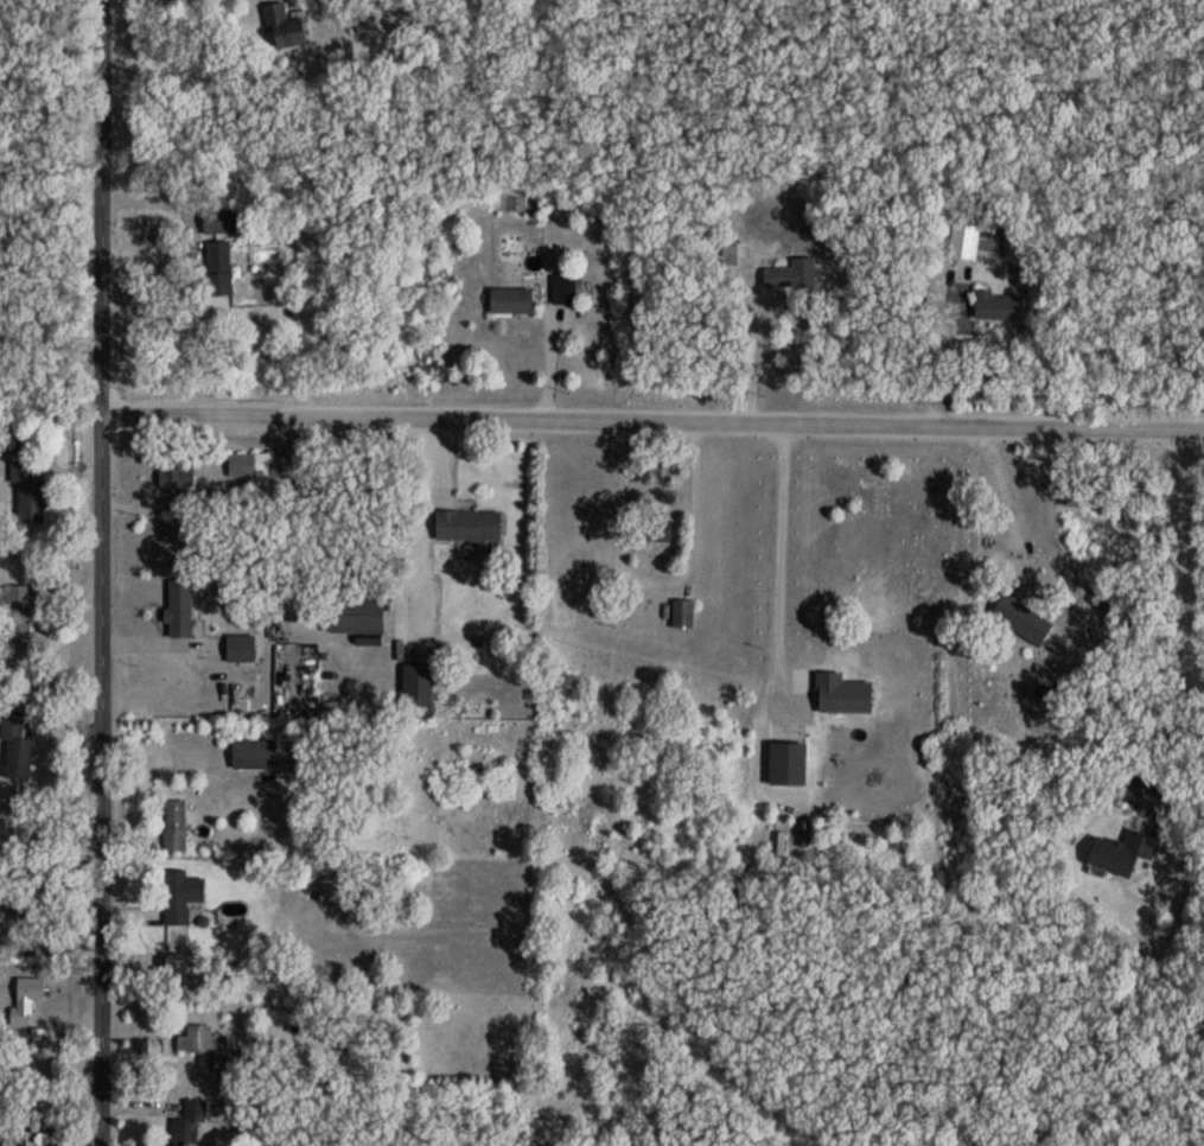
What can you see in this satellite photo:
road: (108, 2)
building: (285, 27)
building: (221, 221)
building: (974, 242)
building: (221, 267)
road: (759, 269)
building: (794, 275)
building: (565, 289)
building: (512, 300)
building: (1000, 306)
road: (945, 355)
road: (652, 425)
road: (37, 439)
building: (249, 464)
building: (176, 477)
road: (1020, 491)
building: (30, 492)
road: (191, 502)
road: (410, 523)
building: (470, 527)
building: (661, 530)
road: (779, 550)
road: (102, 572)
road: (660, 582)
building: (180, 609)
road: (1180, 611)
building: (358, 613)
building: (683, 615)
building: (19, 619)
building: (1023, 619)
building: (242, 644)
building: (419, 685)
building: (18, 750)
building: (255, 753)
building: (176, 826)
building: (1123, 853)
building: (181, 894)
building: (34, 898)
building: (31, 991)
building: (218, 1051)
building: (189, 1126)
building: (12, 1140)

